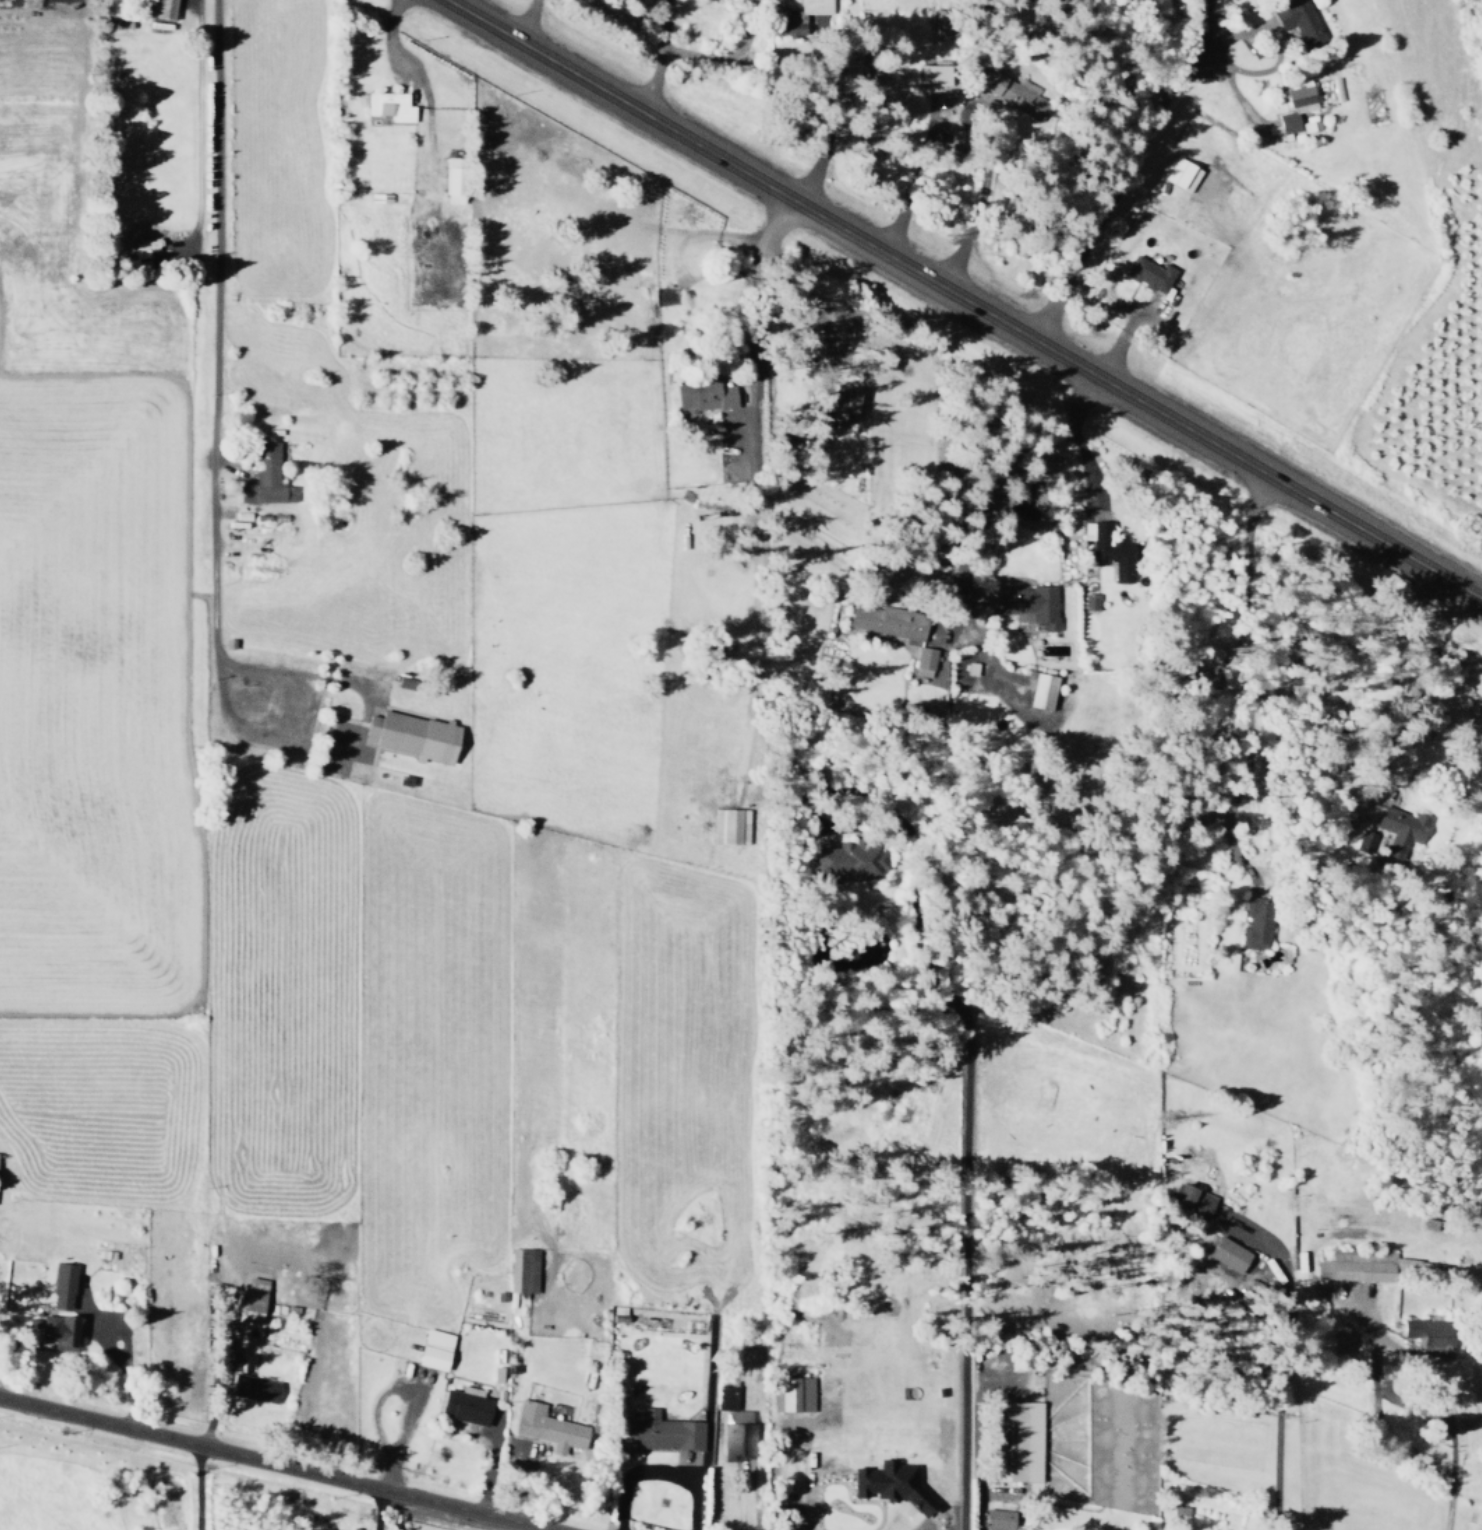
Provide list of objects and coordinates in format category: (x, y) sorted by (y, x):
building: (28, 3)
building: (162, 9)
building: (799, 18)
building: (1298, 19)
road: (526, 21)
building: (940, 23)
road: (655, 58)
building: (933, 74)
building: (1014, 94)
building: (389, 105)
building: (1296, 106)
building: (1309, 122)
building: (1181, 173)
building: (453, 180)
building: (143, 247)
building: (1150, 273)
road: (756, 286)
road: (964, 300)
road: (211, 375)
building: (703, 394)
building: (845, 402)
road: (1077, 440)
building: (265, 477)
building: (1109, 549)
road: (1248, 554)
building: (1089, 601)
building: (1027, 603)
building: (888, 620)
building: (923, 661)
building: (971, 668)
building: (1043, 691)
road: (1415, 696)
building: (414, 735)
building: (729, 826)
building: (1401, 827)
building: (1364, 841)
building: (850, 860)
building: (1256, 922)
building: (1193, 1199)
building: (1229, 1254)
building: (1357, 1265)
building: (522, 1270)
building: (62, 1285)
building: (253, 1299)
building: (59, 1331)
building: (1430, 1333)
building: (435, 1348)
building: (254, 1387)
building: (796, 1393)
building: (466, 1404)
building: (547, 1427)
building: (659, 1432)
building: (737, 1441)
road: (272, 1464)
building: (892, 1484)
building: (999, 1519)

